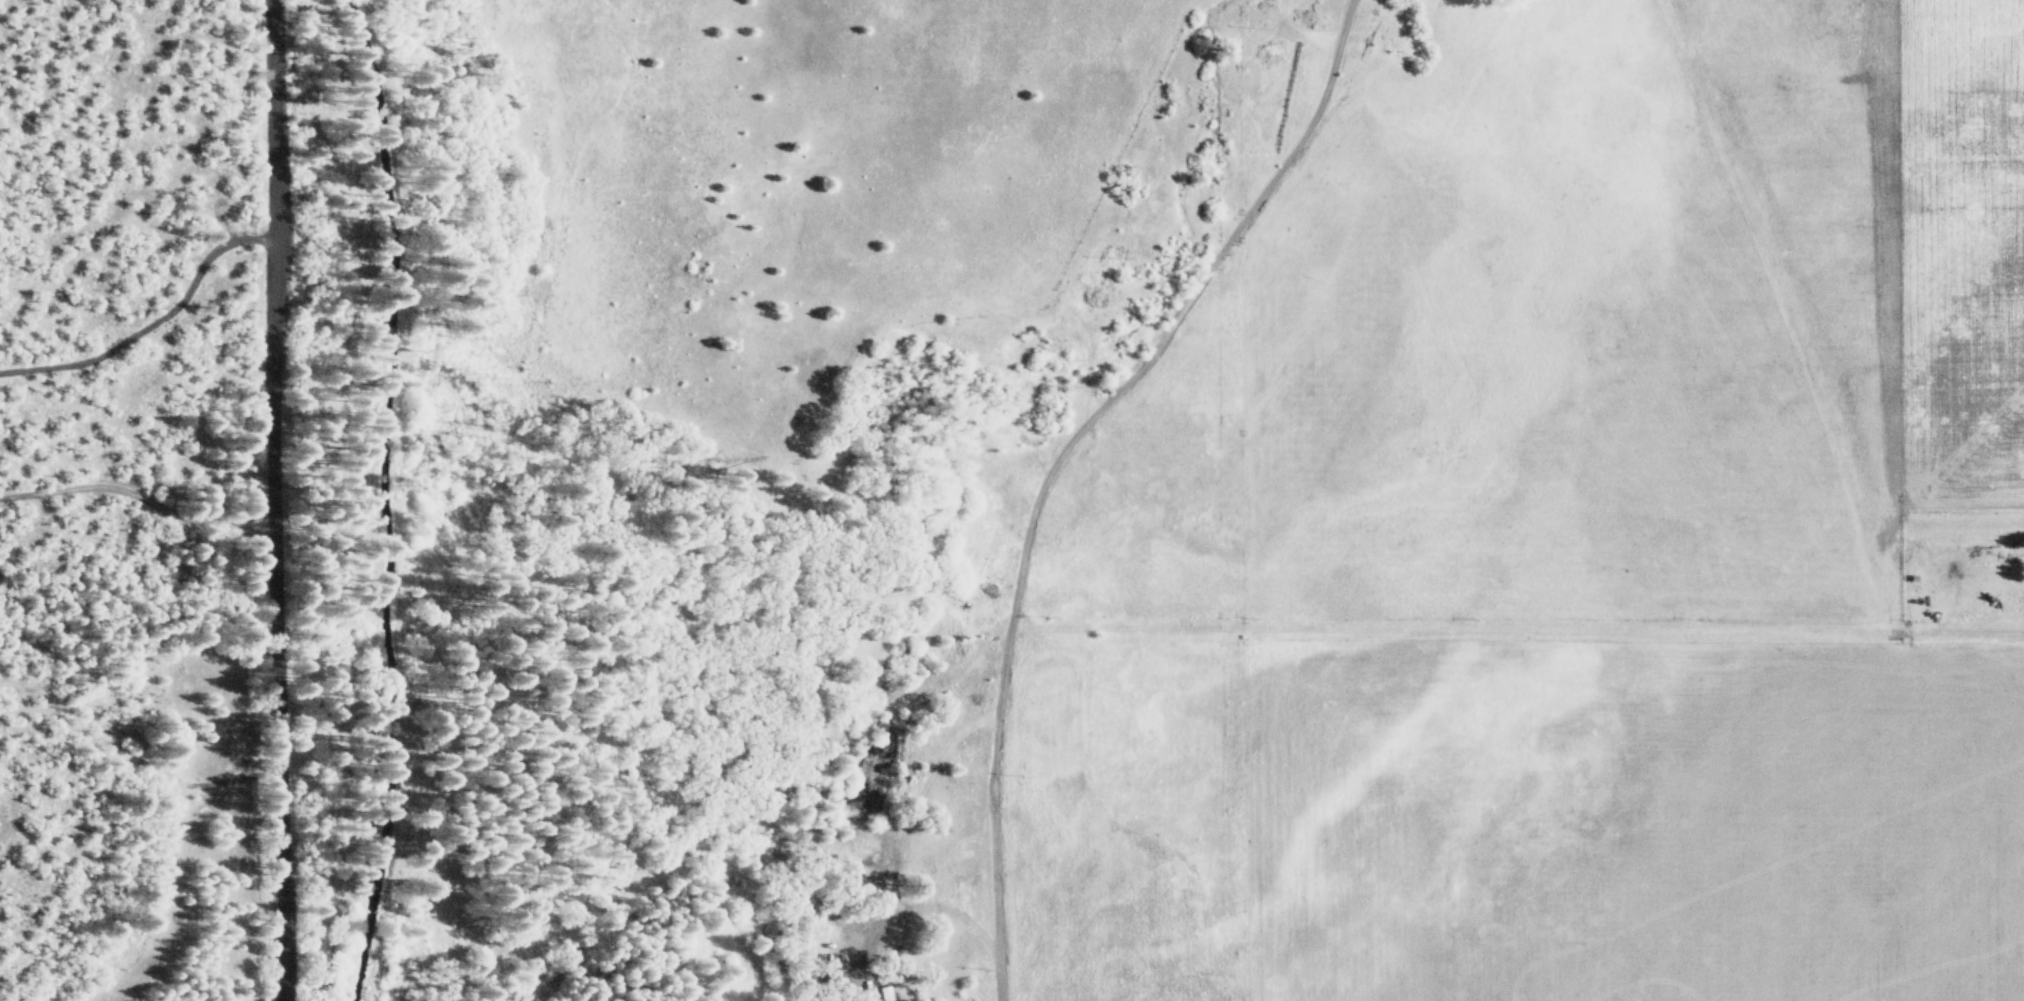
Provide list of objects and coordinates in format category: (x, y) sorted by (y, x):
road: (1056, 459)
road: (137, 497)
road: (272, 500)
building: (882, 993)

